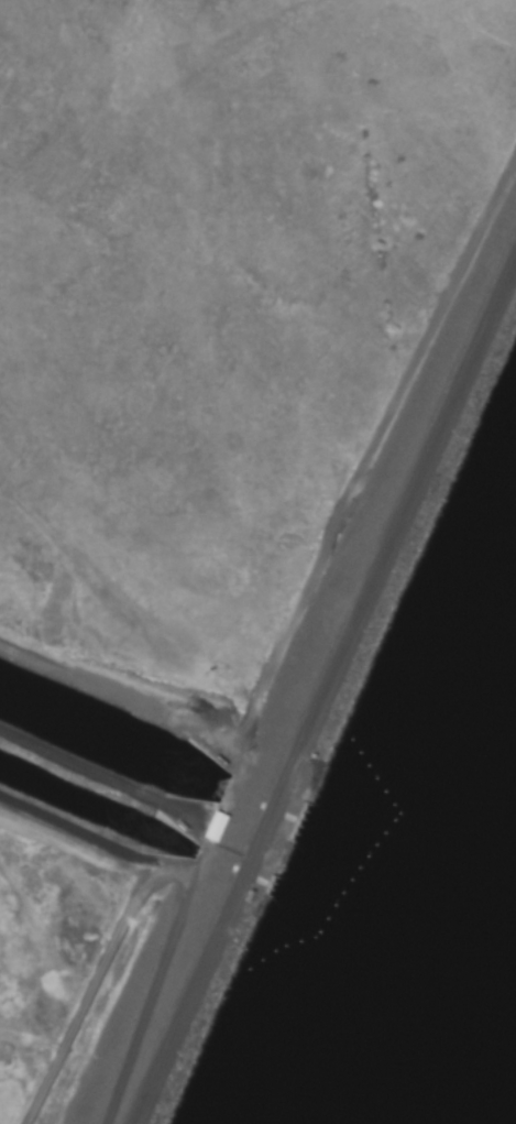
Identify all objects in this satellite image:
river: (113, 738)
building: (217, 826)

